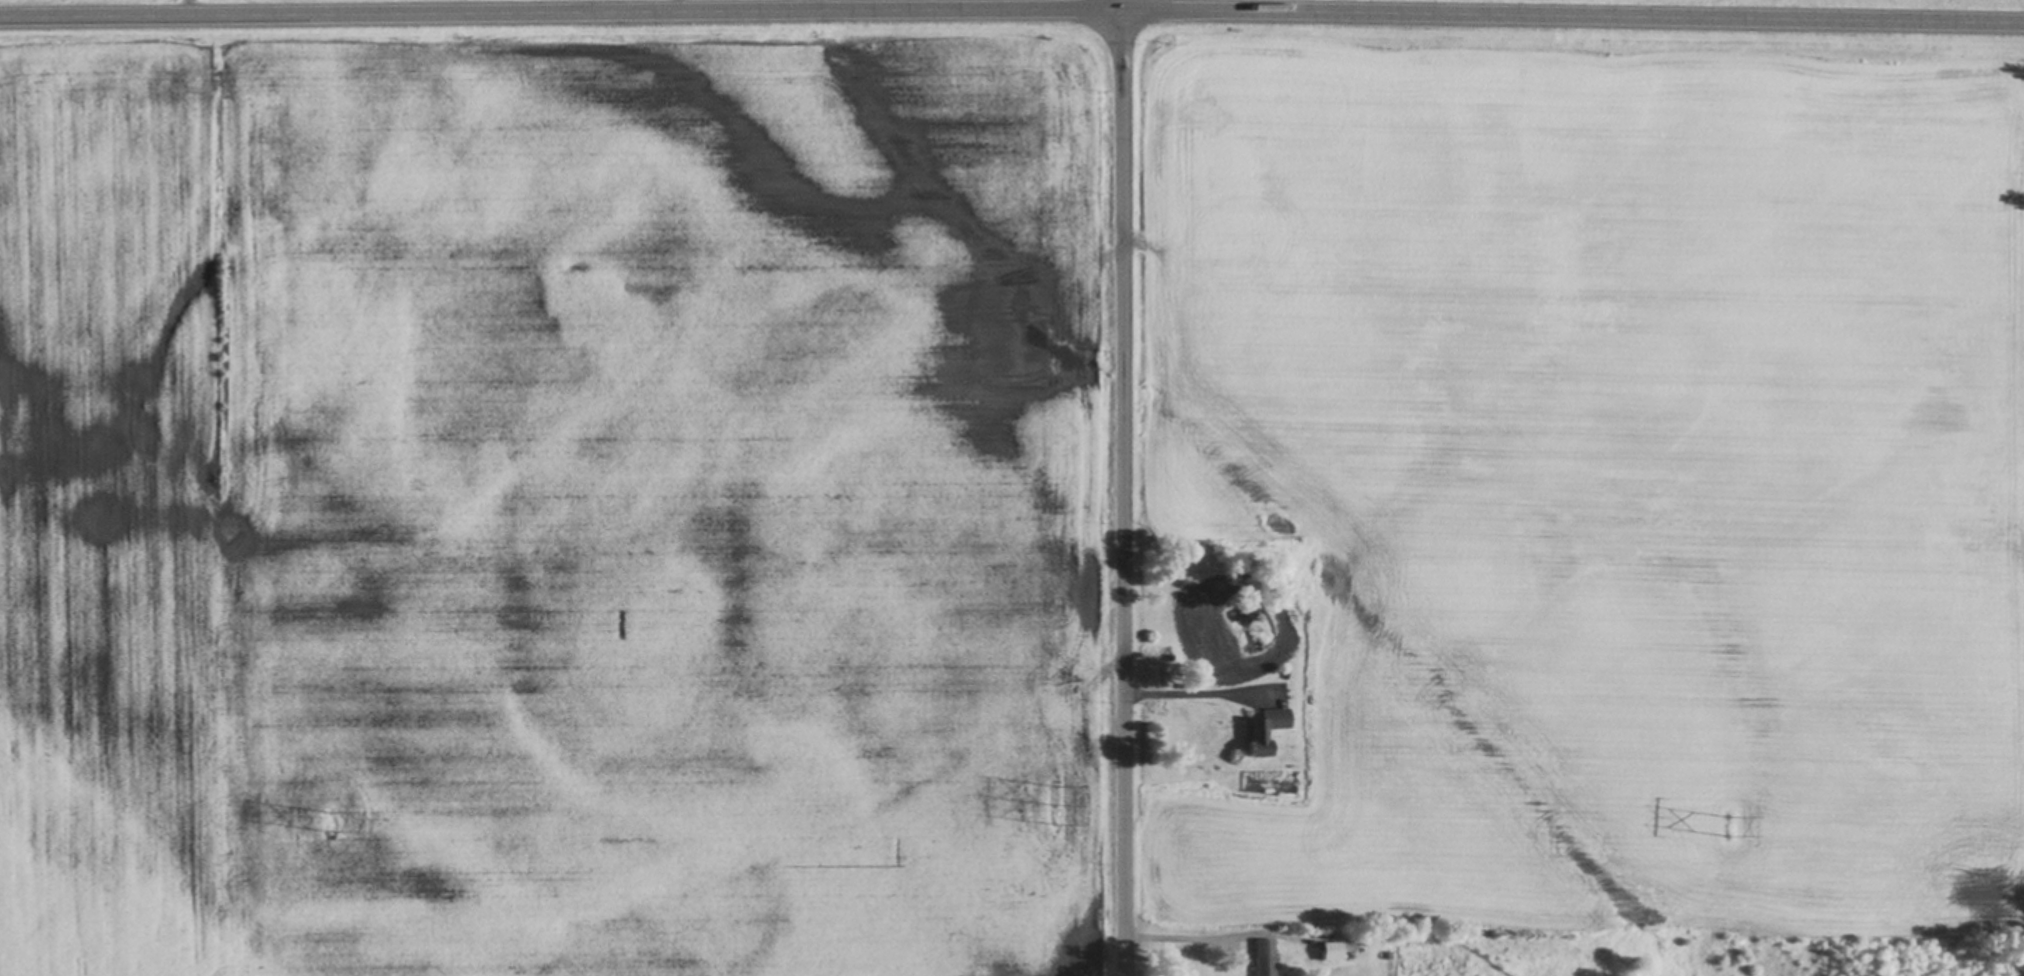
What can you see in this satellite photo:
road: (1012, 11)
road: (1117, 487)
building: (1151, 671)
road: (1191, 695)
building: (1262, 733)
power tower: (1053, 809)
power tower: (328, 824)
power tower: (1726, 829)
road: (1173, 940)
building: (1327, 953)
building: (1261, 958)

